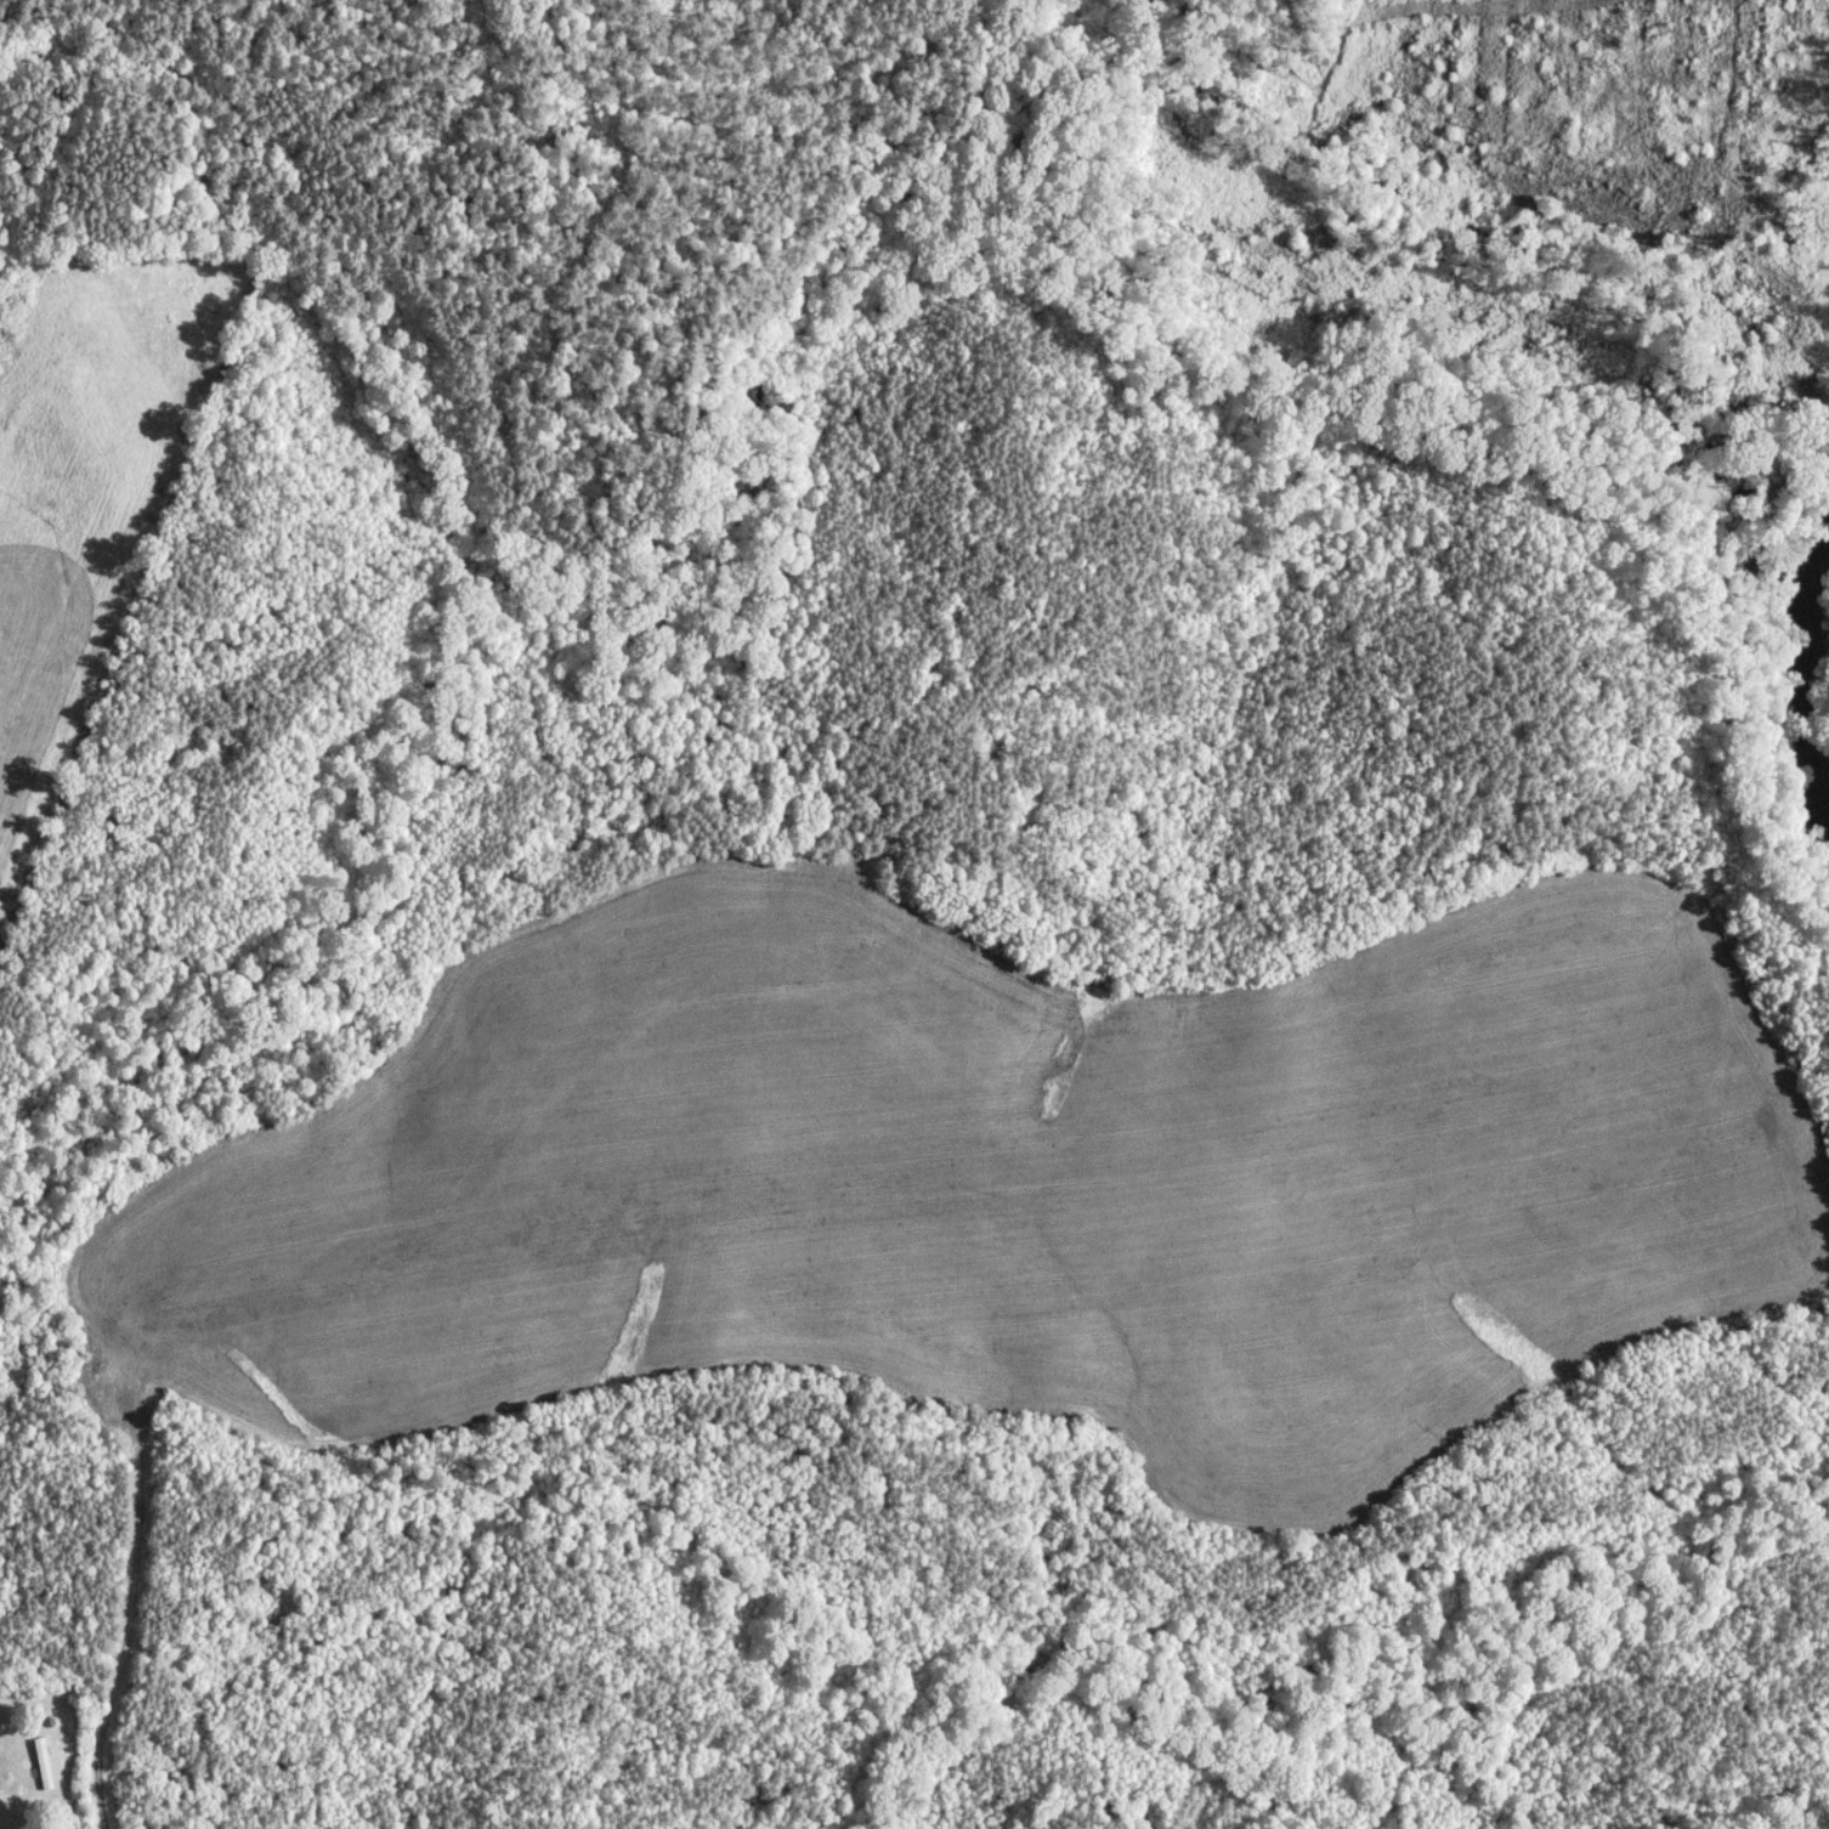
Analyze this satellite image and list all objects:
river: (1784, 673)
road: (98, 1784)

